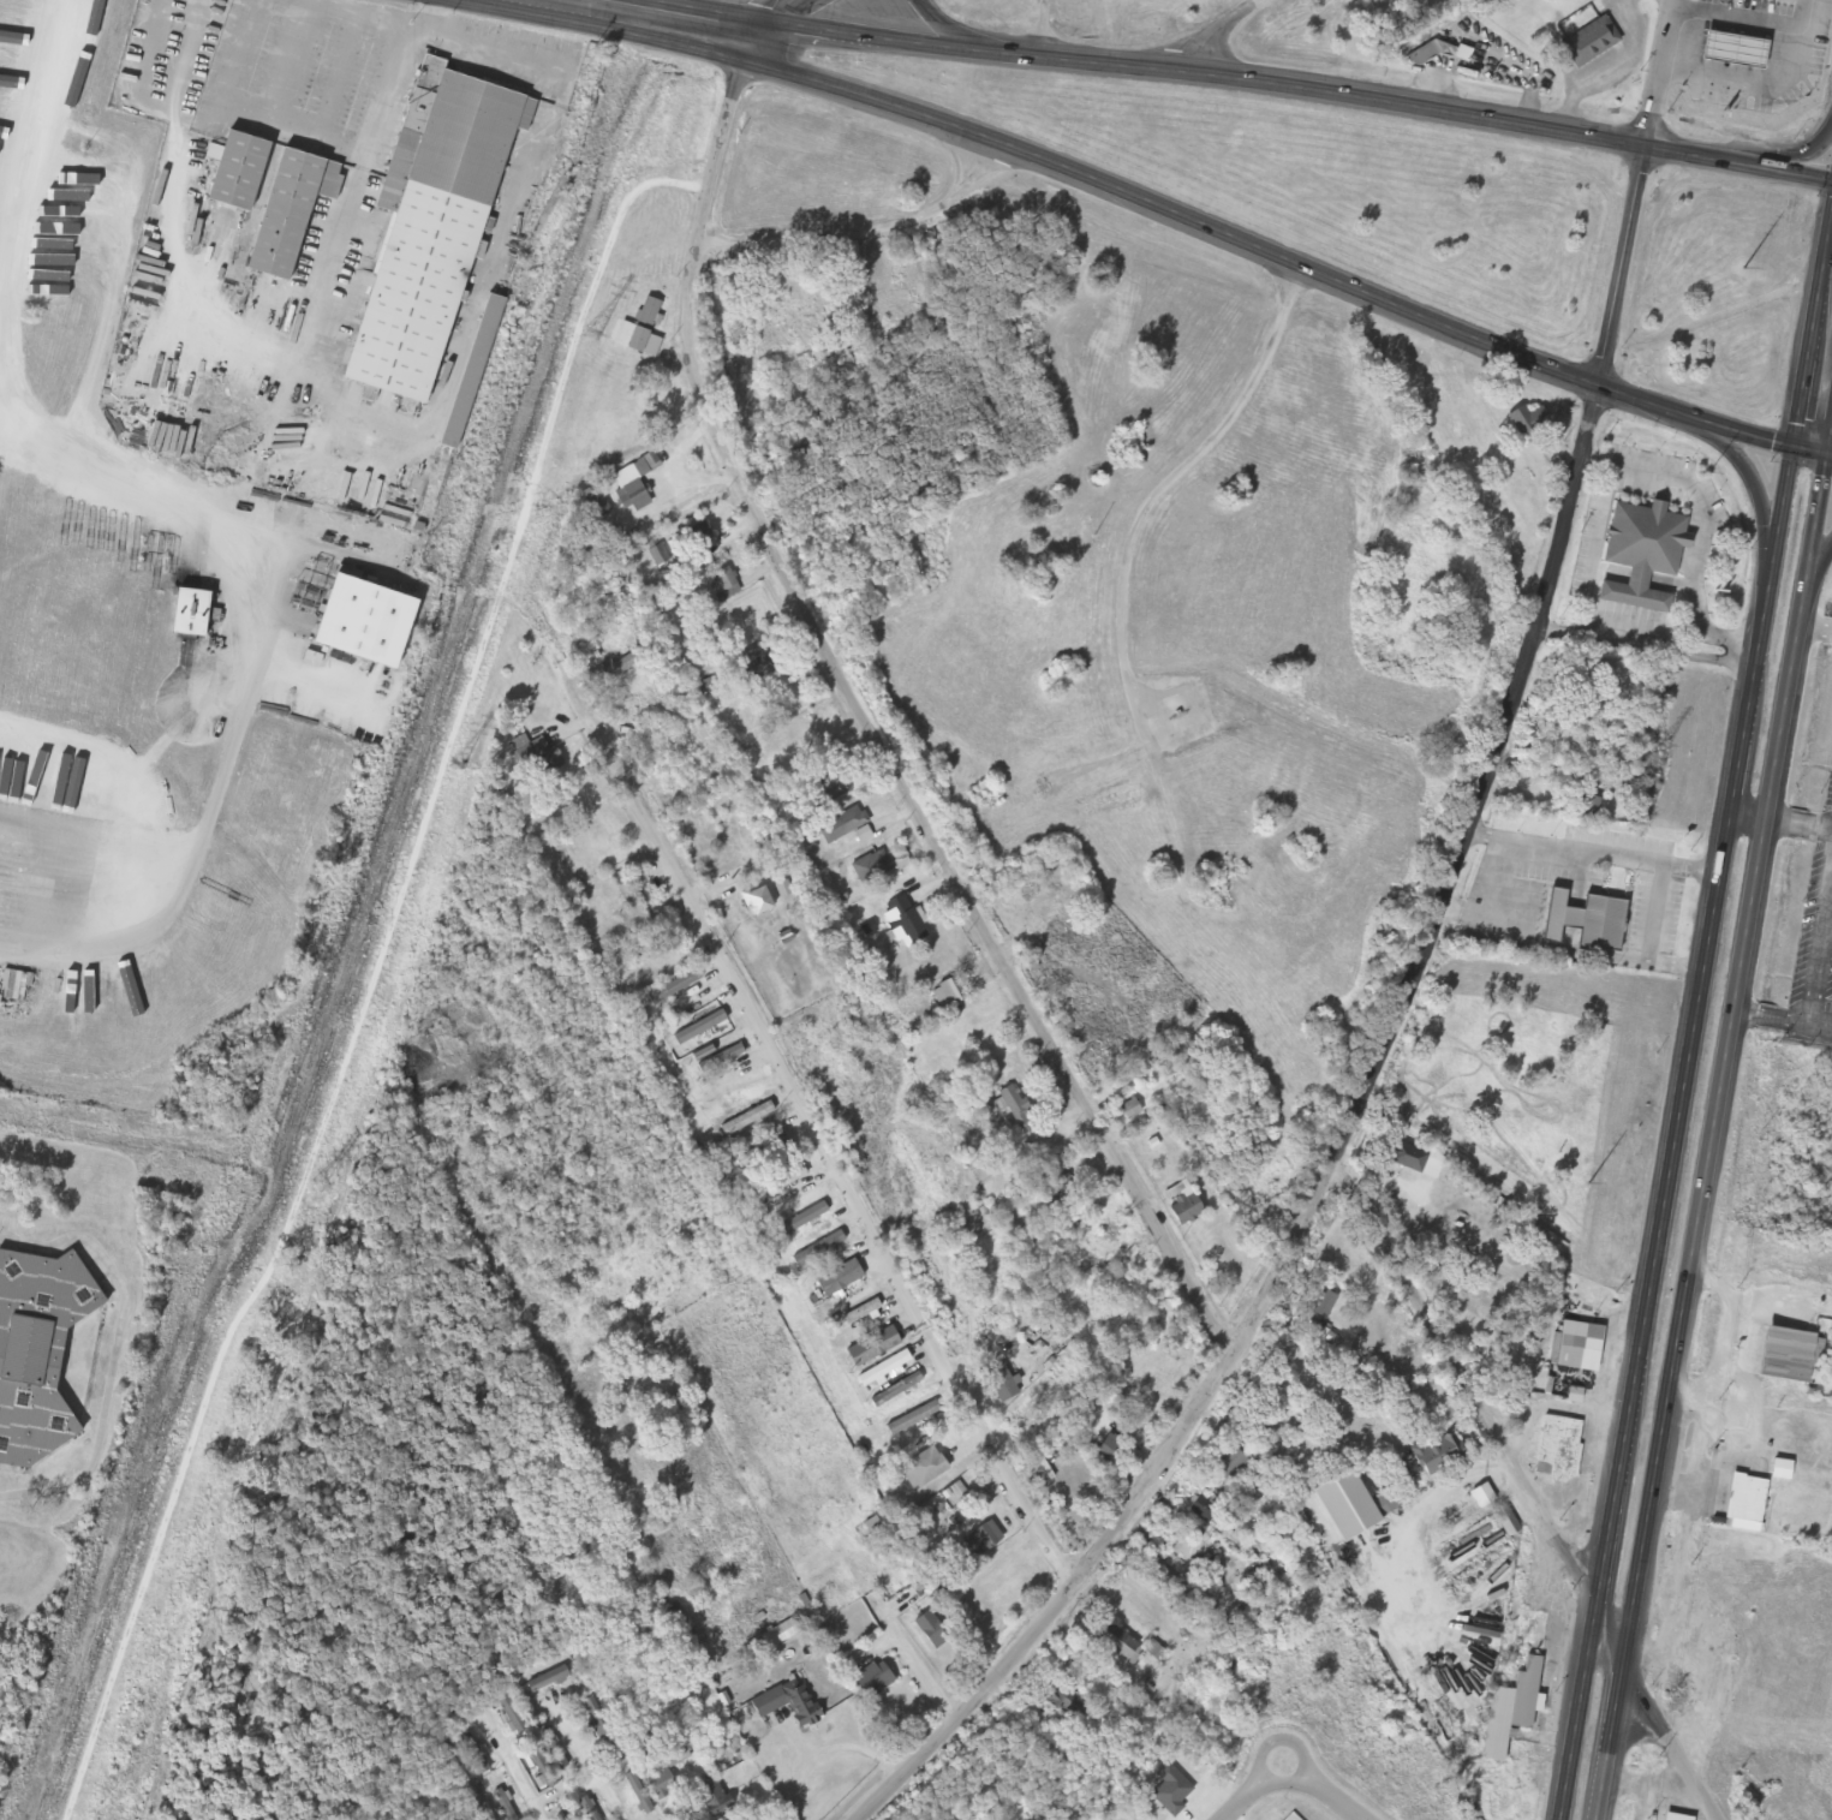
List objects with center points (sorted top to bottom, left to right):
road: (770, 10)
road: (938, 22)
road: (1215, 32)
road: (750, 40)
building: (1589, 42)
building: (1695, 49)
building: (1427, 53)
building: (1777, 53)
building: (1726, 76)
road: (1241, 80)
road: (1783, 157)
building: (241, 169)
building: (82, 177)
road: (1133, 192)
building: (293, 209)
building: (434, 225)
road: (865, 233)
building: (58, 234)
building: (58, 270)
power tower: (1743, 271)
power tower: (595, 332)
building: (637, 332)
building: (473, 372)
building: (1527, 423)
traffic signals: (1796, 447)
road: (1814, 449)
traffic signals: (1830, 452)
power tower: (1708, 476)
building: (633, 484)
road: (1759, 493)
building: (698, 535)
building: (1641, 554)
building: (658, 555)
road: (1818, 577)
building: (724, 587)
building: (193, 611)
building: (369, 620)
building: (758, 668)
building: (617, 669)
building: (1577, 685)
building: (1178, 715)
road: (871, 730)
power tower: (1661, 750)
building: (537, 759)
power tower: (455, 768)
building: (825, 783)
building: (1591, 810)
building: (847, 822)
road: (1727, 837)
building: (872, 867)
building: (756, 902)
railway: (348, 907)
building: (629, 911)
building: (901, 923)
building: (1583, 923)
building: (656, 954)
road: (1412, 980)
building: (674, 989)
building: (949, 995)
building: (699, 1030)
building: (721, 1060)
building: (1130, 1110)
road: (1715, 1128)
road: (824, 1145)
building: (760, 1151)
building: (1414, 1162)
building: (780, 1183)
power tower: (1589, 1185)
power tower: (321, 1187)
building: (1055, 1187)
building: (1182, 1205)
building: (800, 1221)
building: (817, 1249)
building: (839, 1278)
building: (1321, 1305)
building: (853, 1317)
building: (1102, 1323)
building: (1574, 1345)
building: (872, 1348)
building: (40, 1350)
building: (1788, 1355)
building: (883, 1370)
building: (1001, 1384)
building: (896, 1391)
building: (912, 1419)
building: (1557, 1449)
building: (1112, 1451)
building: (1437, 1455)
building: (1228, 1463)
building: (921, 1469)
road: (1528, 1488)
building: (1744, 1504)
building: (1205, 1509)
building: (1355, 1524)
building: (981, 1540)
building: (1470, 1541)
building: (1359, 1569)
building: (1730, 1576)
building: (1397, 1593)
building: (931, 1630)
building: (1527, 1630)
building: (780, 1635)
road: (1591, 1636)
building: (1118, 1643)
power tower: (1508, 1660)
building: (548, 1679)
building: (872, 1679)
building: (502, 1699)
building: (1068, 1702)
building: (787, 1703)
building: (1510, 1709)
building: (553, 1753)
building: (473, 1754)
road: (1300, 1772)
building: (661, 1785)
building: (637, 1794)
building: (711, 1797)
building: (580, 1802)
building: (502, 1806)

